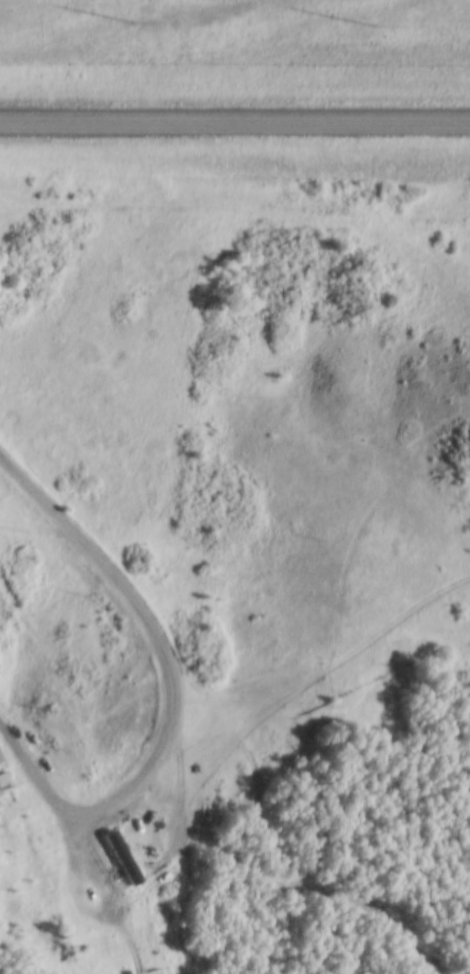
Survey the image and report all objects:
road: (235, 119)
road: (164, 689)
building: (0, 757)
building: (4, 780)
road: (280, 849)
building: (119, 856)

